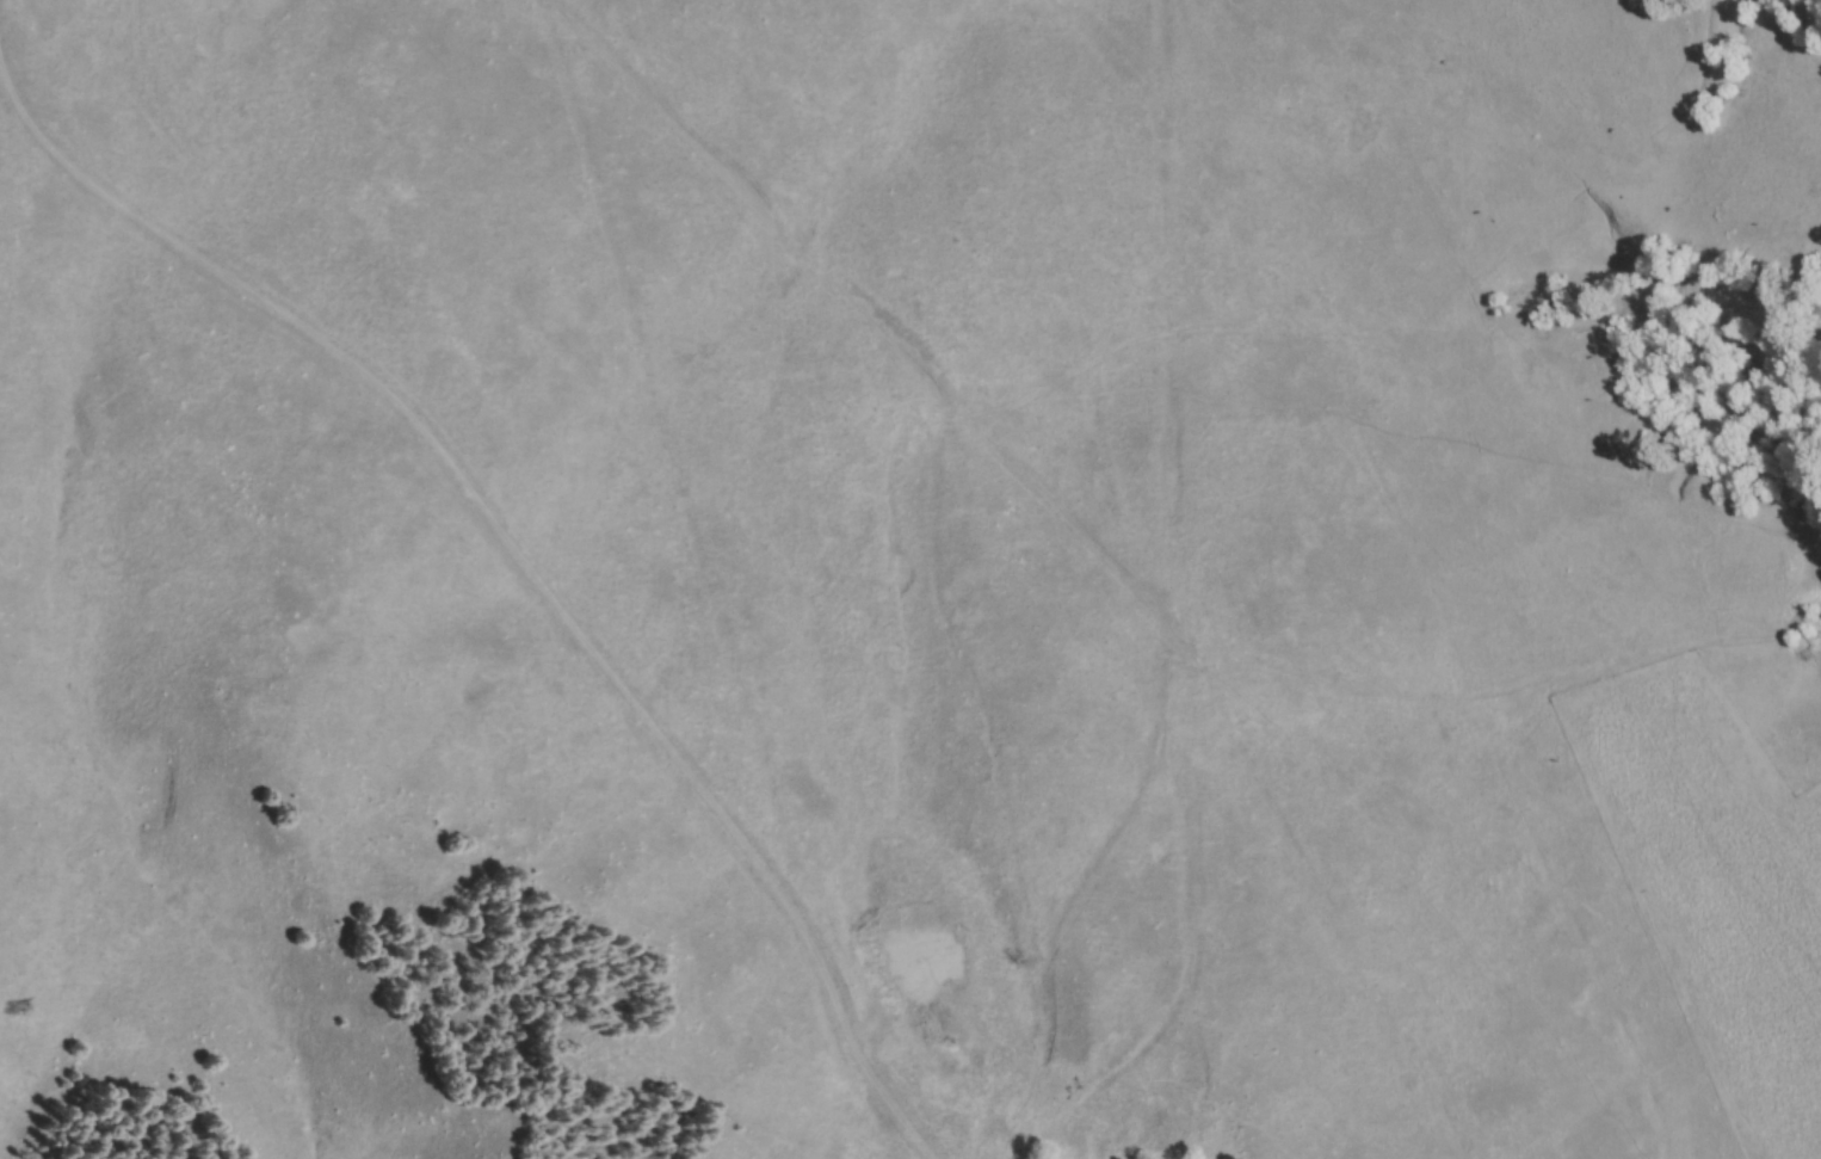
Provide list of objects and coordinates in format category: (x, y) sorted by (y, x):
road: (523, 555)

